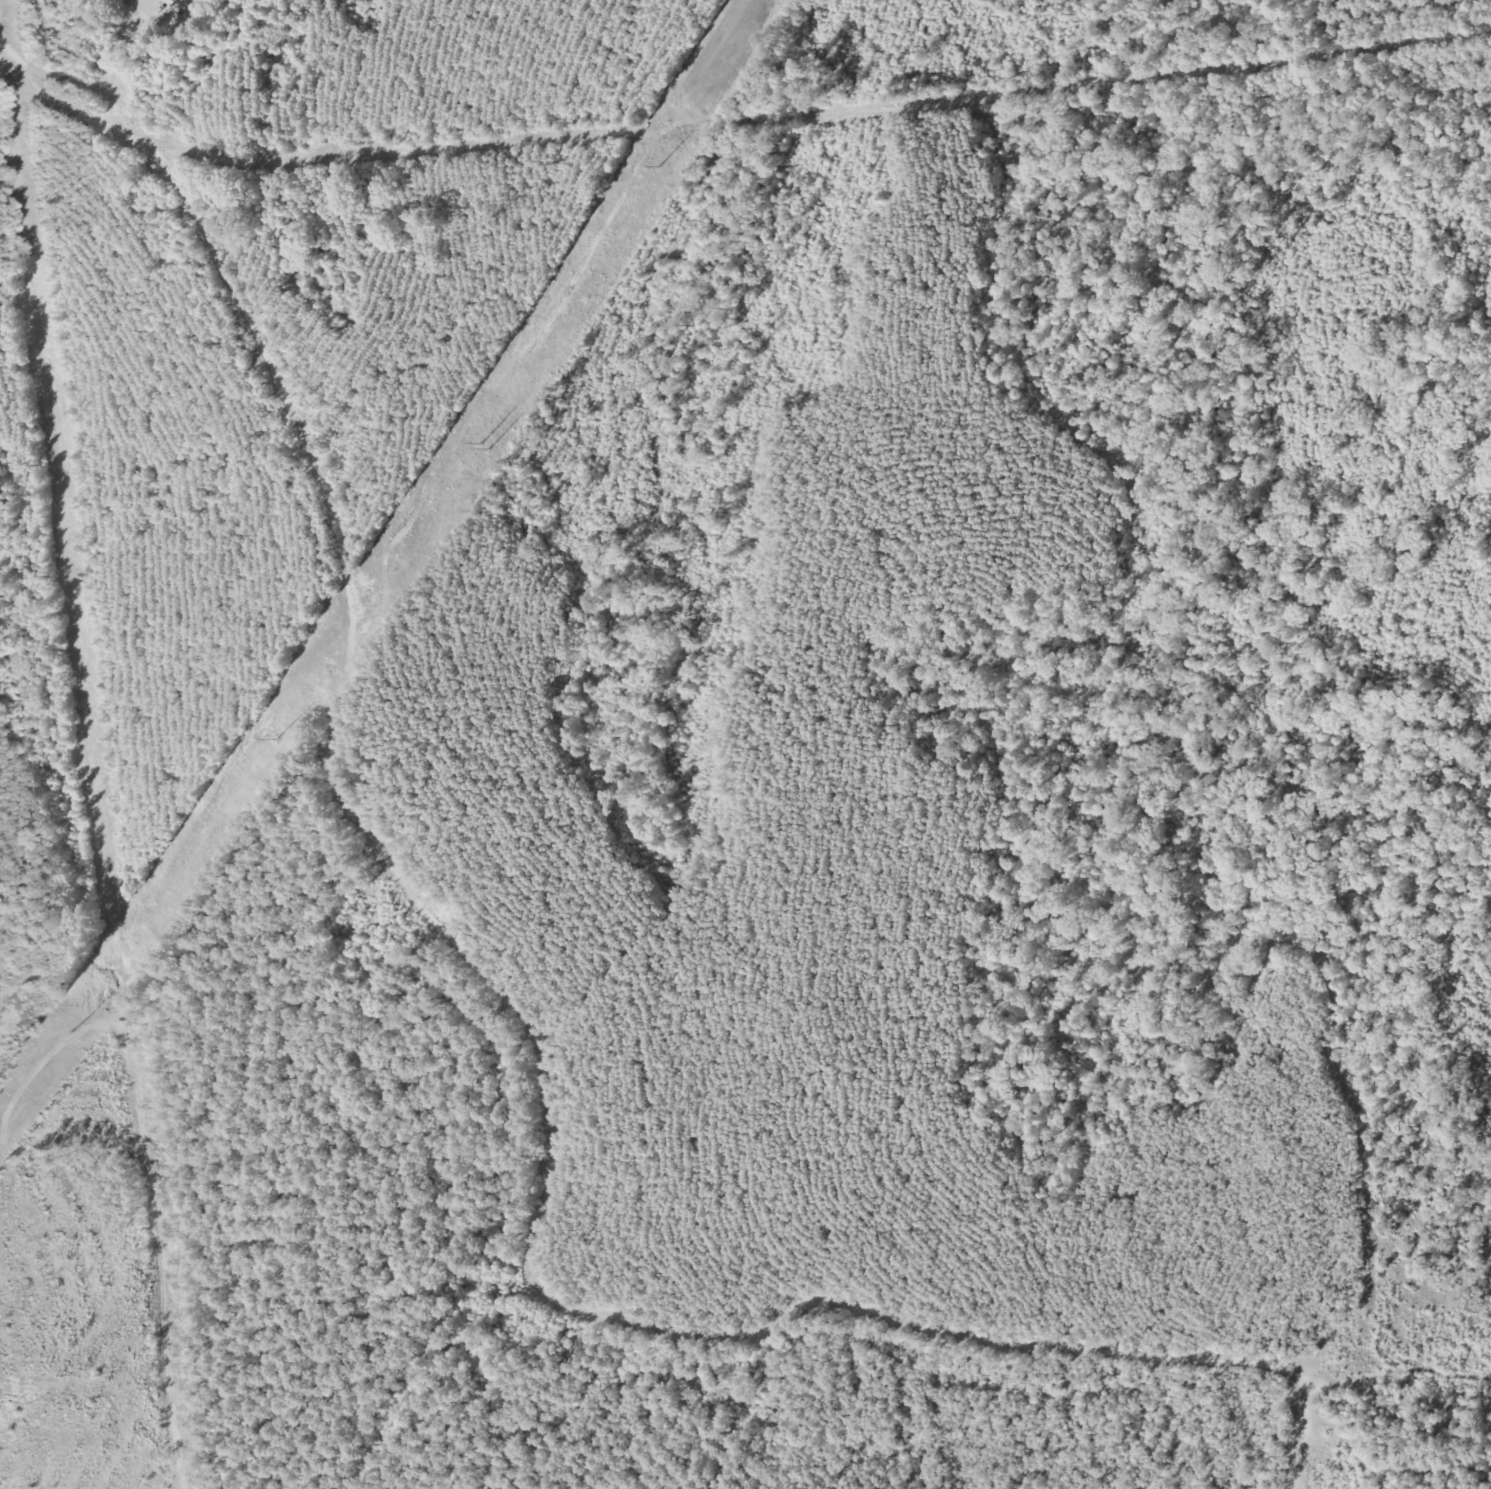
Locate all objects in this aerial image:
building: (169, 2)
road: (244, 381)

